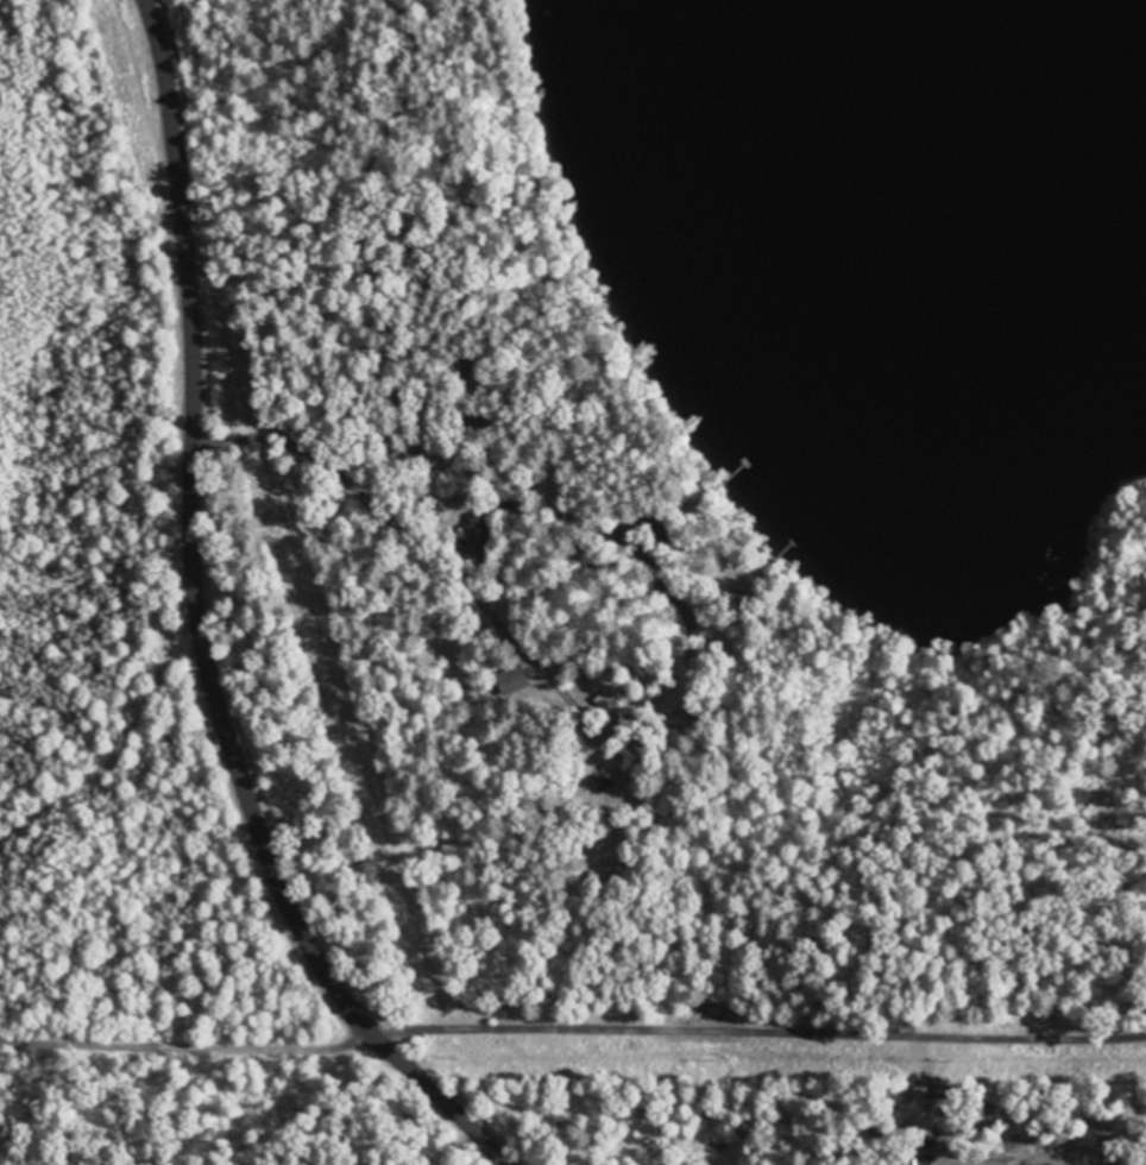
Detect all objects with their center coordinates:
road: (159, 624)
building: (517, 681)
road: (84, 737)

